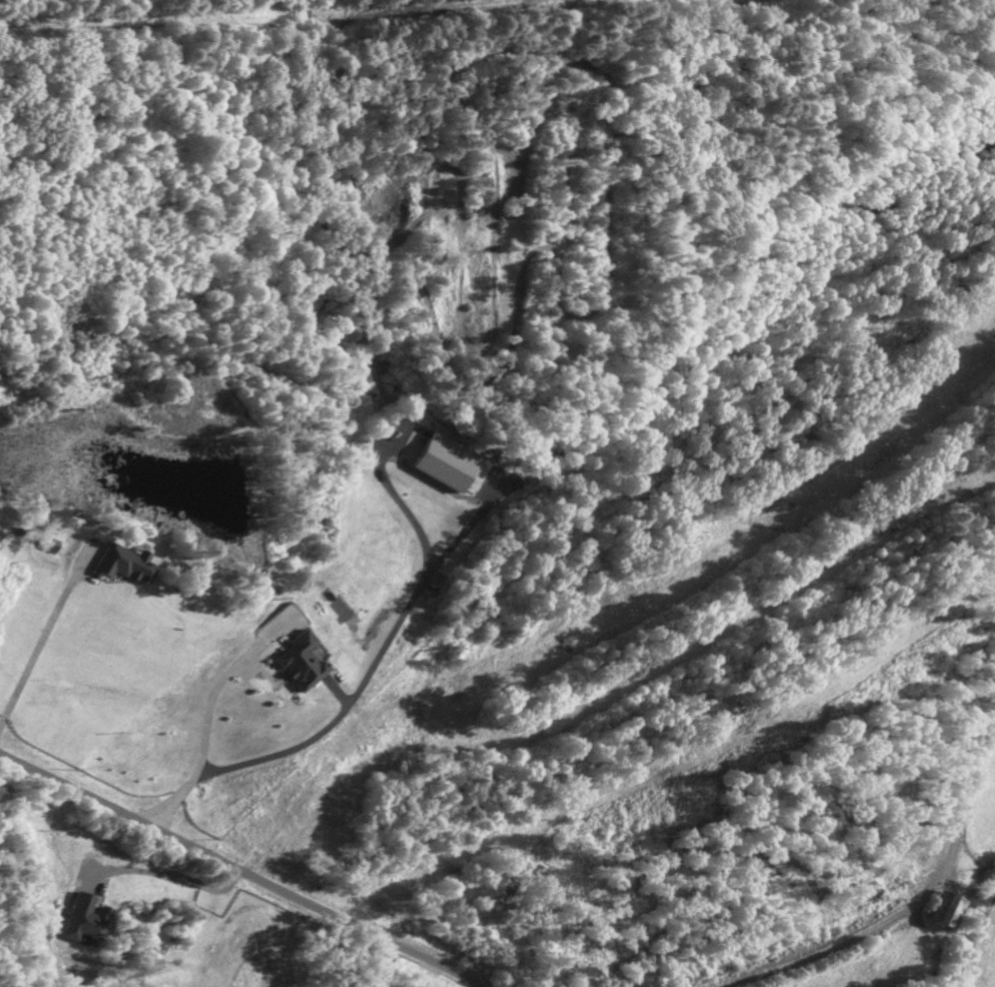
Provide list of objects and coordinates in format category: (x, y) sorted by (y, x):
building: (440, 460)
building: (477, 482)
building: (50, 548)
building: (124, 567)
road: (41, 637)
building: (301, 665)
road: (374, 669)
road: (205, 725)
road: (239, 872)
road: (168, 880)
road: (910, 899)
building: (947, 913)
building: (87, 922)

